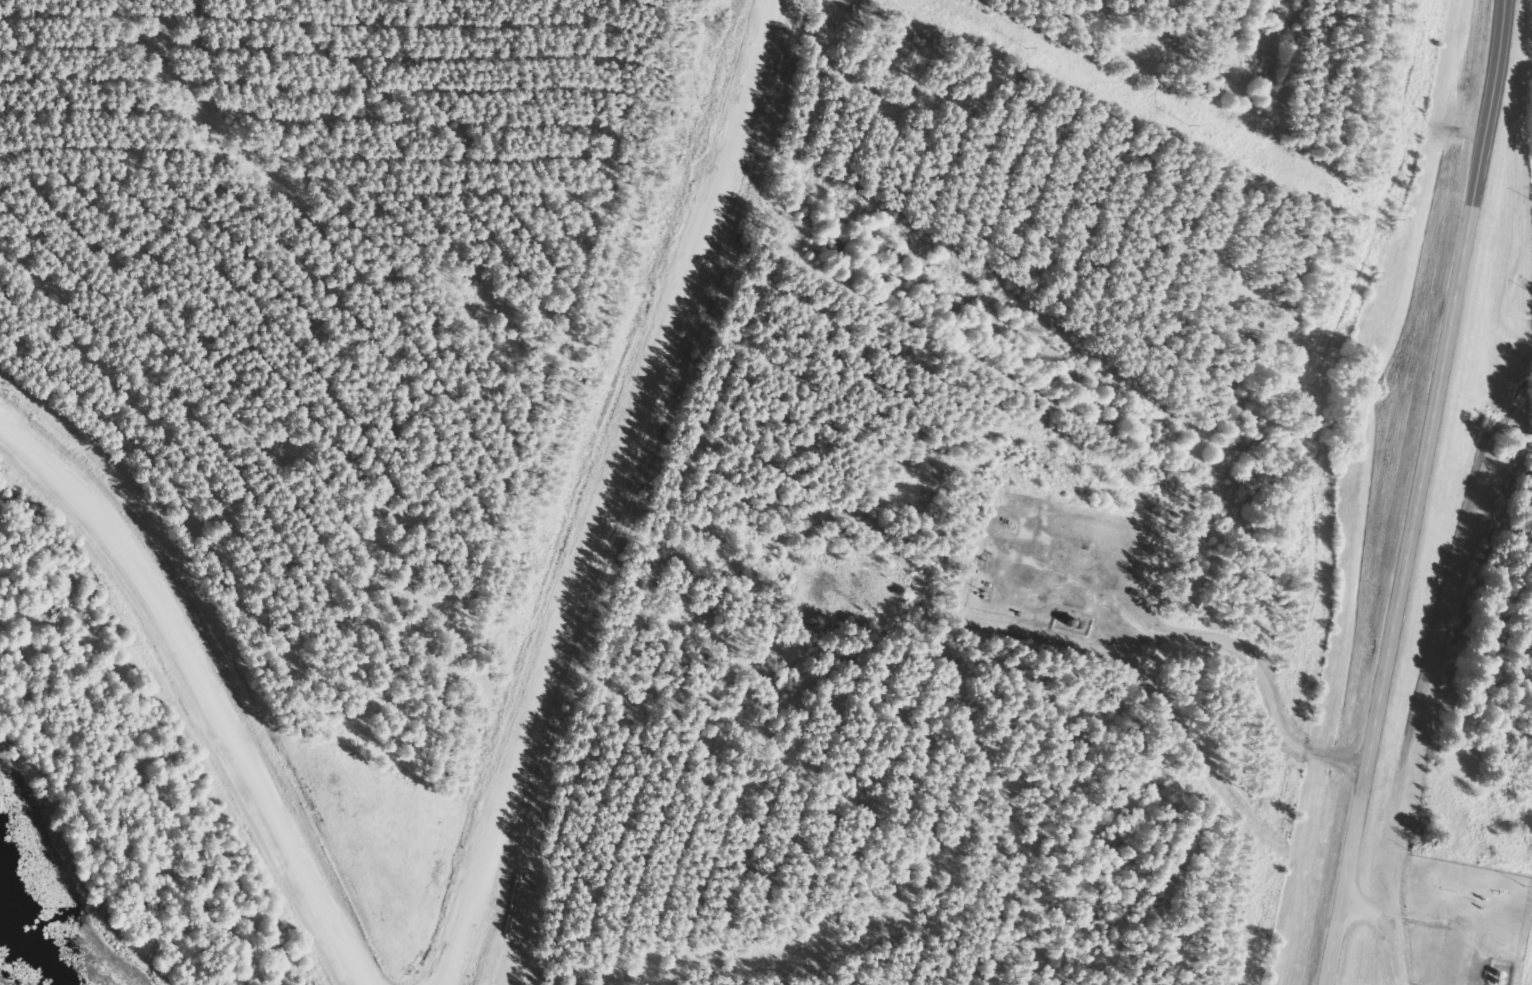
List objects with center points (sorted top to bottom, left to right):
road: (1414, 492)
road: (614, 493)
road: (210, 685)

